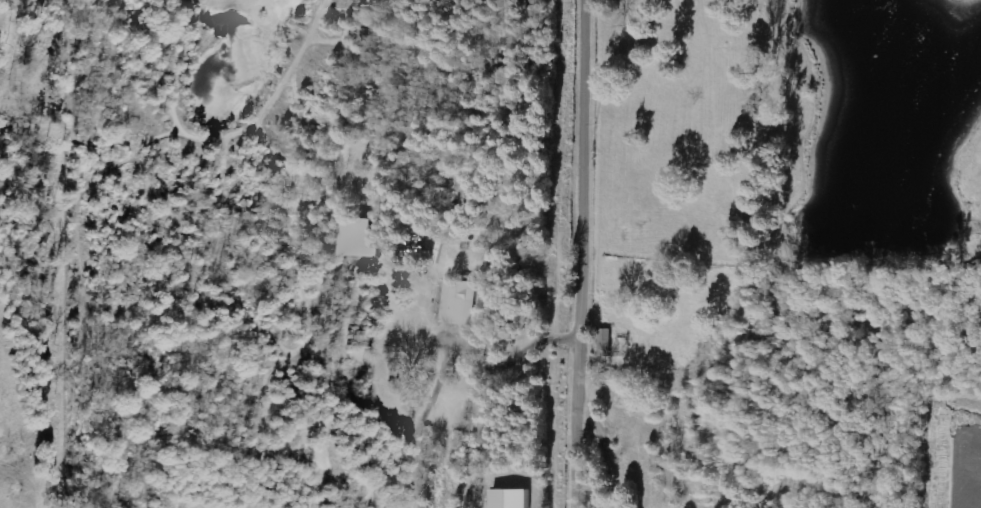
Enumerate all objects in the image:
building: (357, 238)
road: (591, 254)
building: (460, 302)
road: (444, 350)
building: (509, 498)

